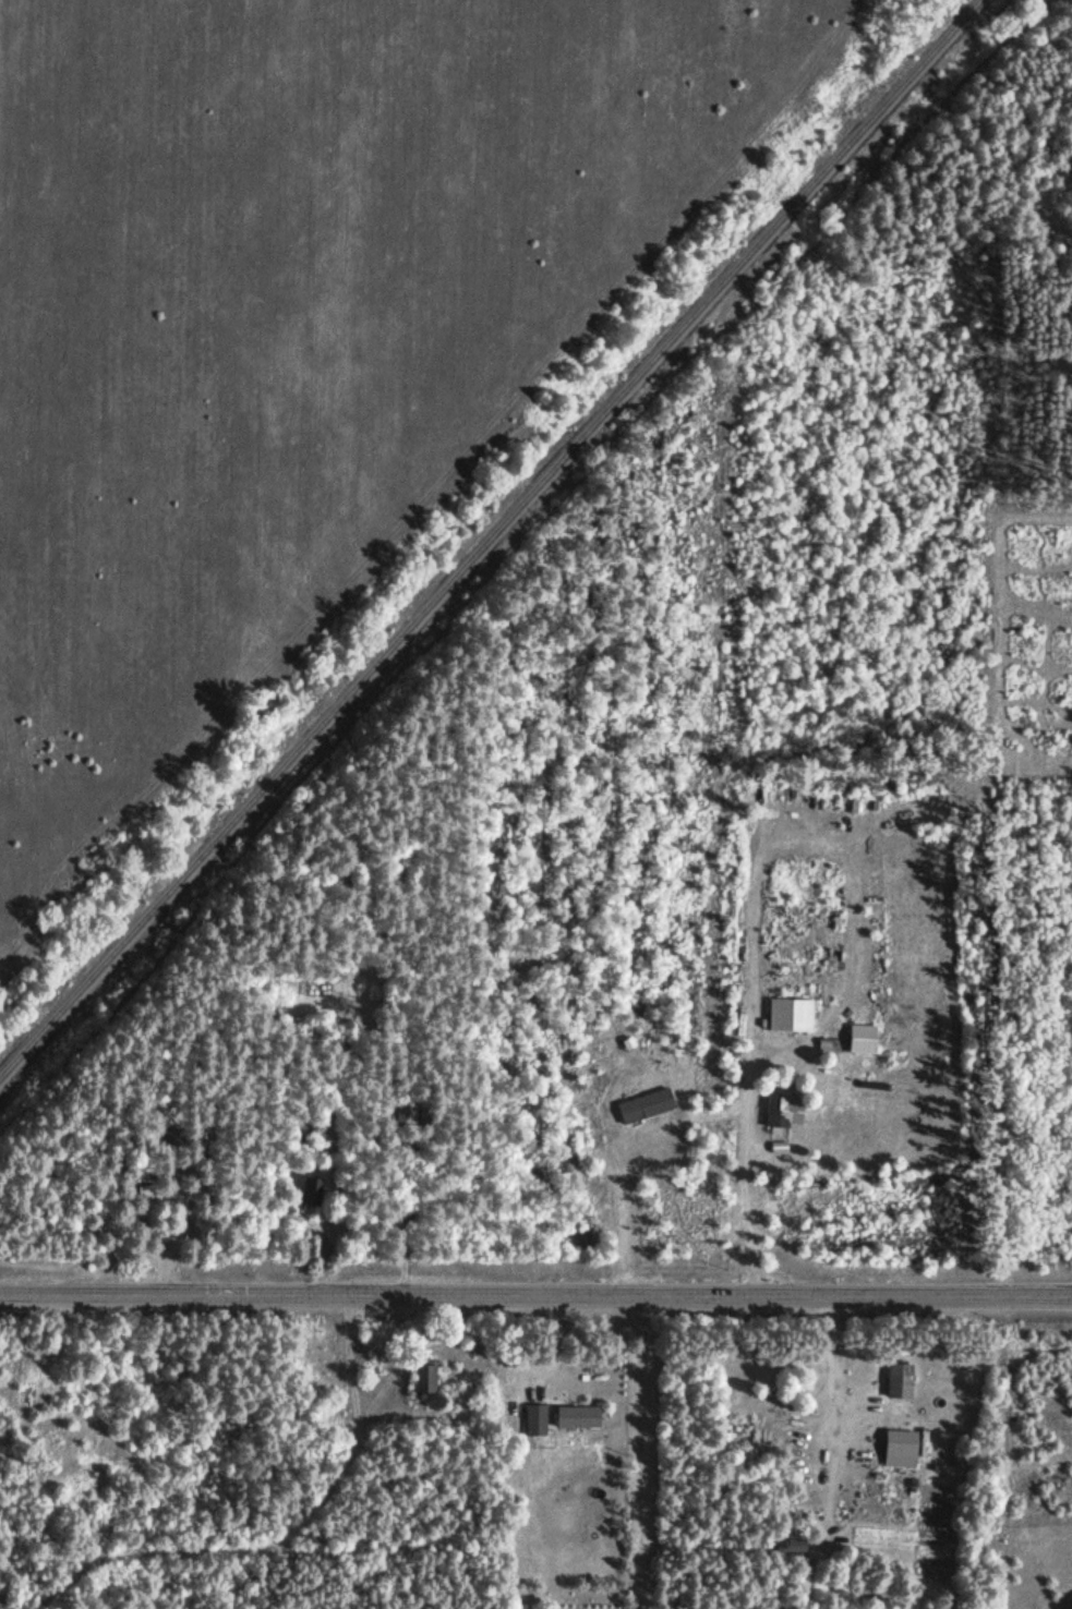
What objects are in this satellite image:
railway: (490, 539)
building: (643, 1104)
building: (312, 1190)
building: (160, 1195)
road: (535, 1294)
building: (422, 1375)
building: (898, 1379)
building: (575, 1416)
building: (534, 1418)
building: (744, 1432)
building: (901, 1447)
road: (657, 1451)

